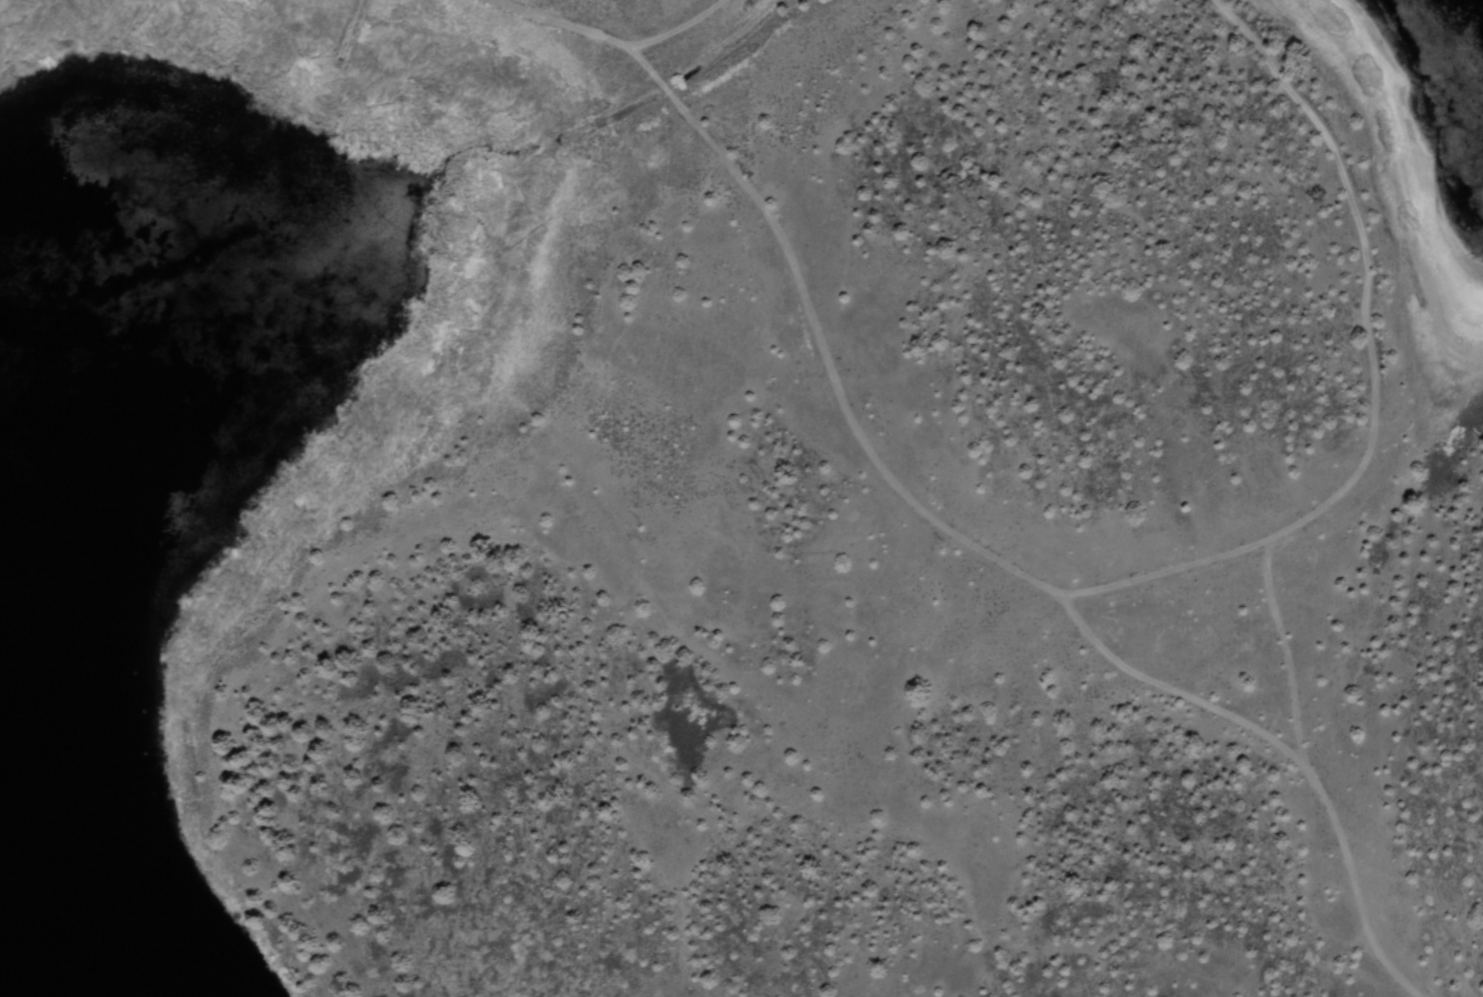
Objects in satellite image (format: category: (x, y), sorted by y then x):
road: (946, 522)

